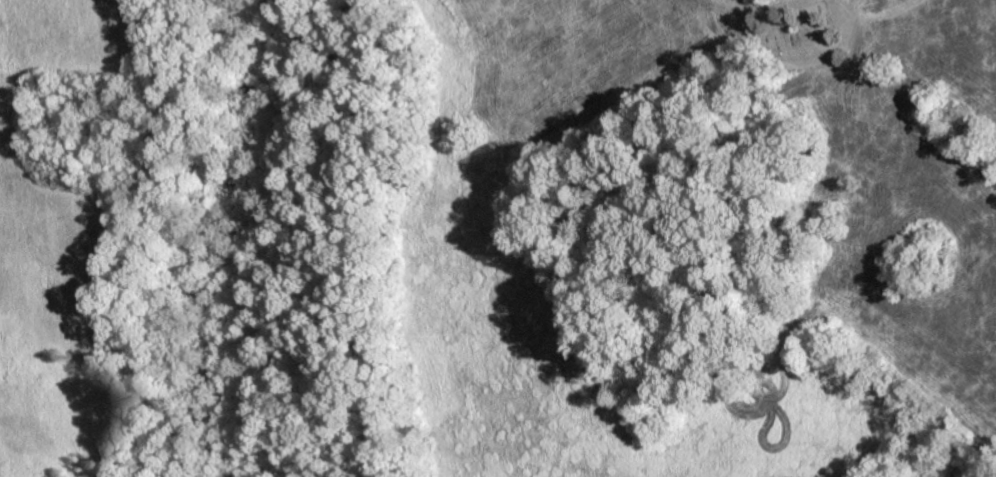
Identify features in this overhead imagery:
park: (796, 37)

